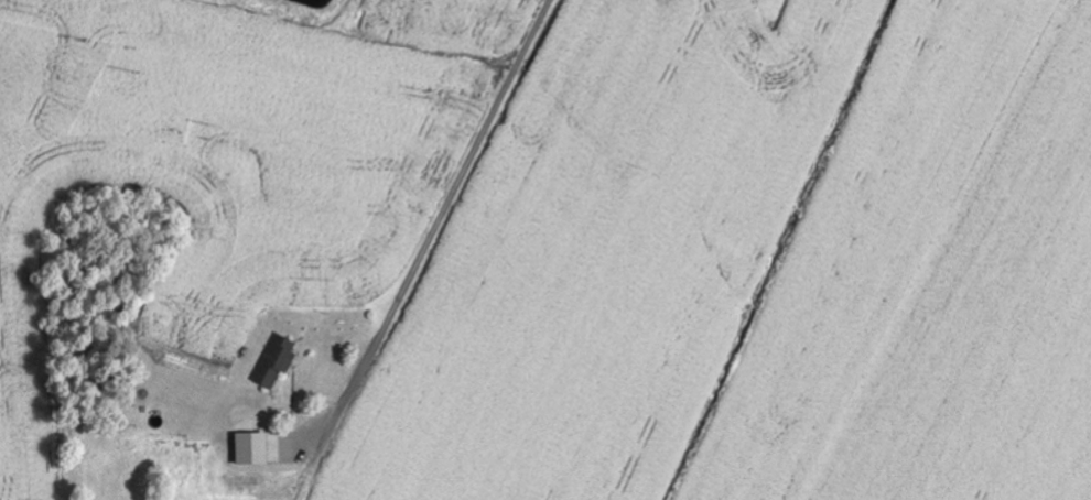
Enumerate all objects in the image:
road: (449, 206)
building: (276, 361)
building: (251, 449)

